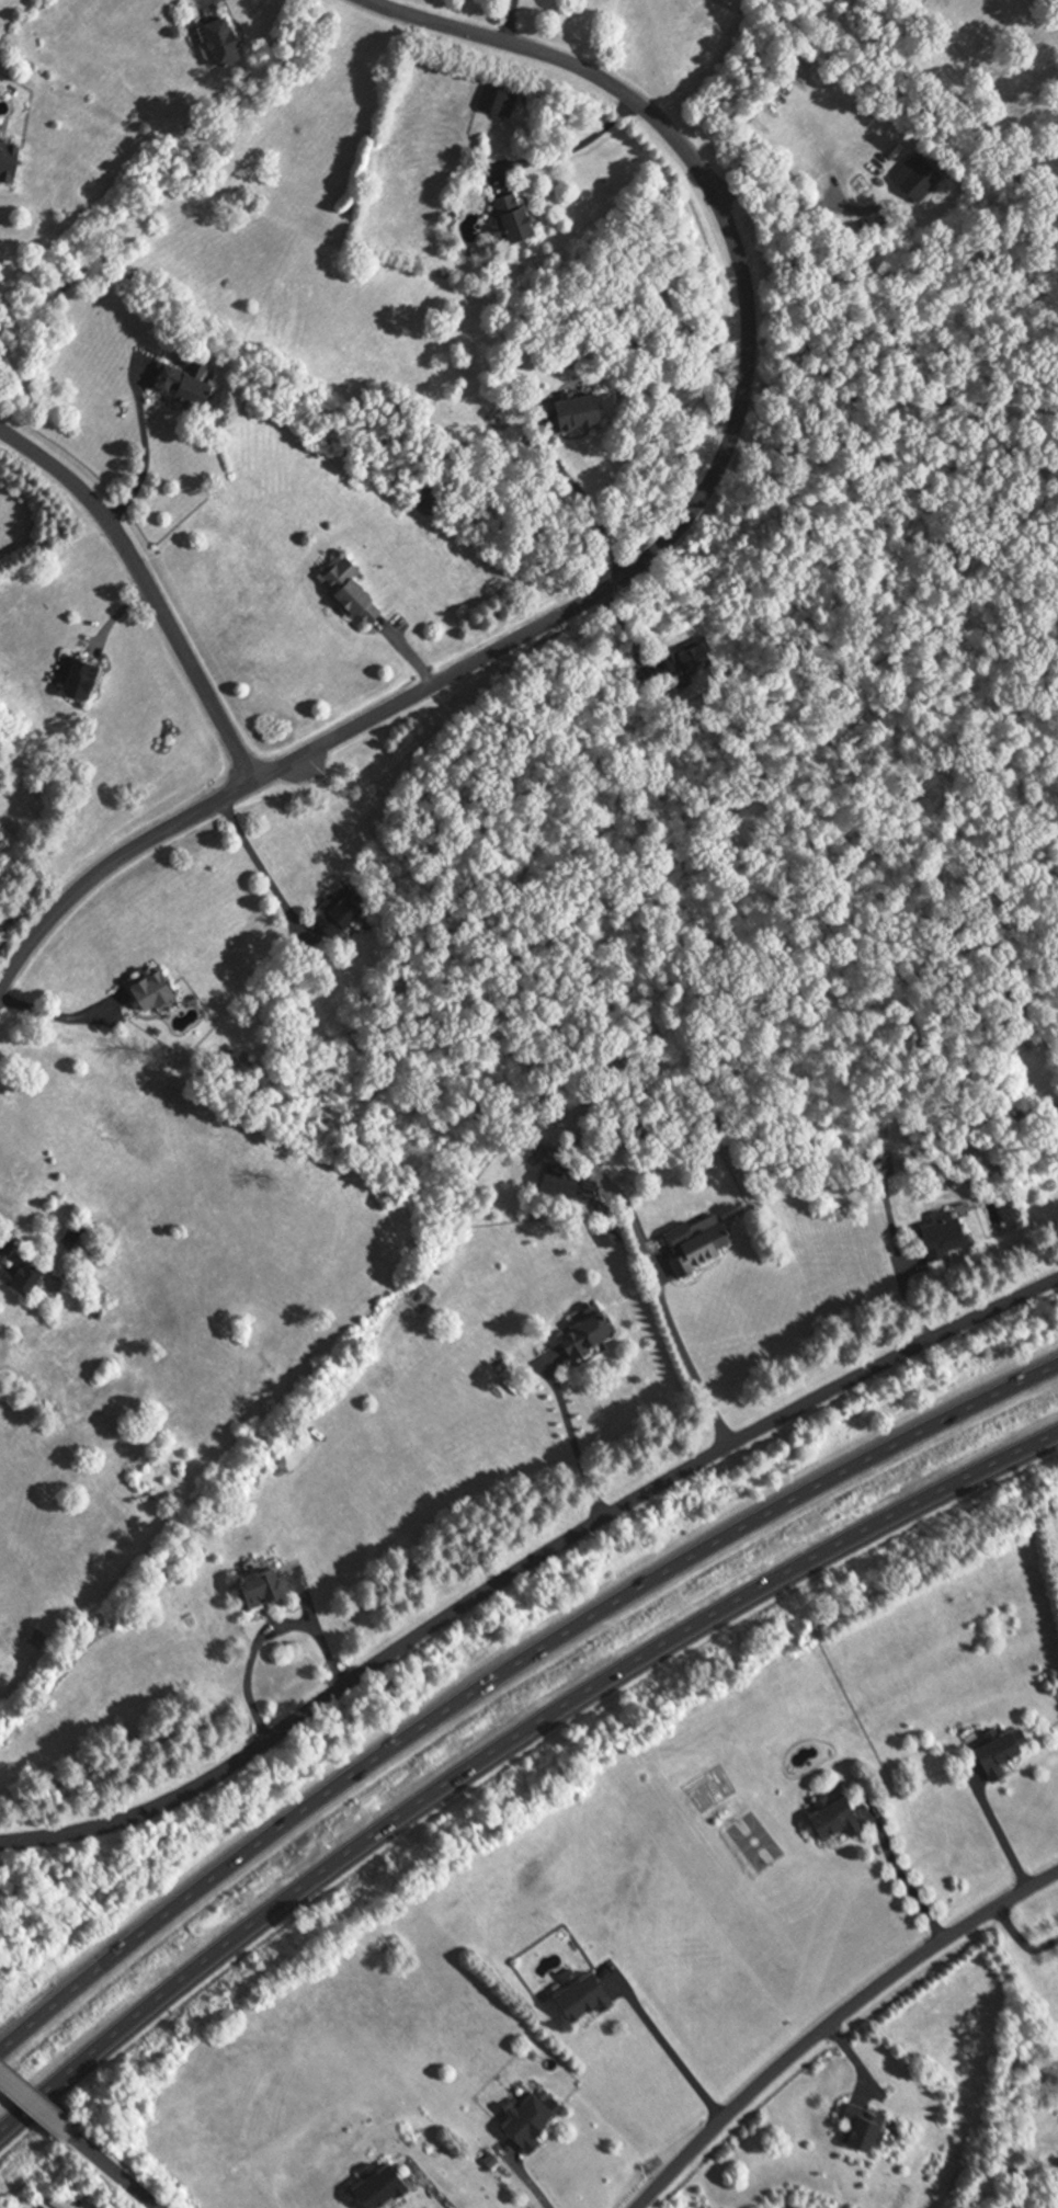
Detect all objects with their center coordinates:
road: (510, 22)
building: (220, 41)
building: (481, 101)
road: (572, 149)
building: (8, 161)
building: (910, 183)
building: (494, 216)
building: (511, 218)
building: (184, 385)
road: (900, 402)
road: (741, 407)
building: (578, 411)
road: (146, 454)
road: (587, 502)
road: (151, 588)
building: (349, 589)
road: (412, 658)
building: (689, 663)
building: (80, 679)
road: (111, 872)
road: (264, 872)
building: (357, 909)
building: (338, 915)
building: (150, 988)
road: (58, 1017)
building: (946, 1239)
building: (694, 1243)
building: (21, 1270)
road: (905, 1271)
road: (667, 1308)
building: (587, 1333)
building: (566, 1335)
road: (572, 1439)
road: (525, 1563)
building: (259, 1586)
road: (268, 1634)
building: (44, 1639)
road: (507, 1670)
road: (503, 1739)
building: (986, 1752)
building: (817, 1820)
road: (999, 1839)
park: (754, 1842)
road: (902, 1878)
road: (1022, 1942)
building: (593, 1999)
road: (837, 2025)
road: (674, 2050)
road: (854, 2059)
road: (36, 2103)
building: (538, 2120)
building: (863, 2126)
road: (115, 2172)
road: (527, 2181)
building: (378, 2185)
road: (436, 2196)

